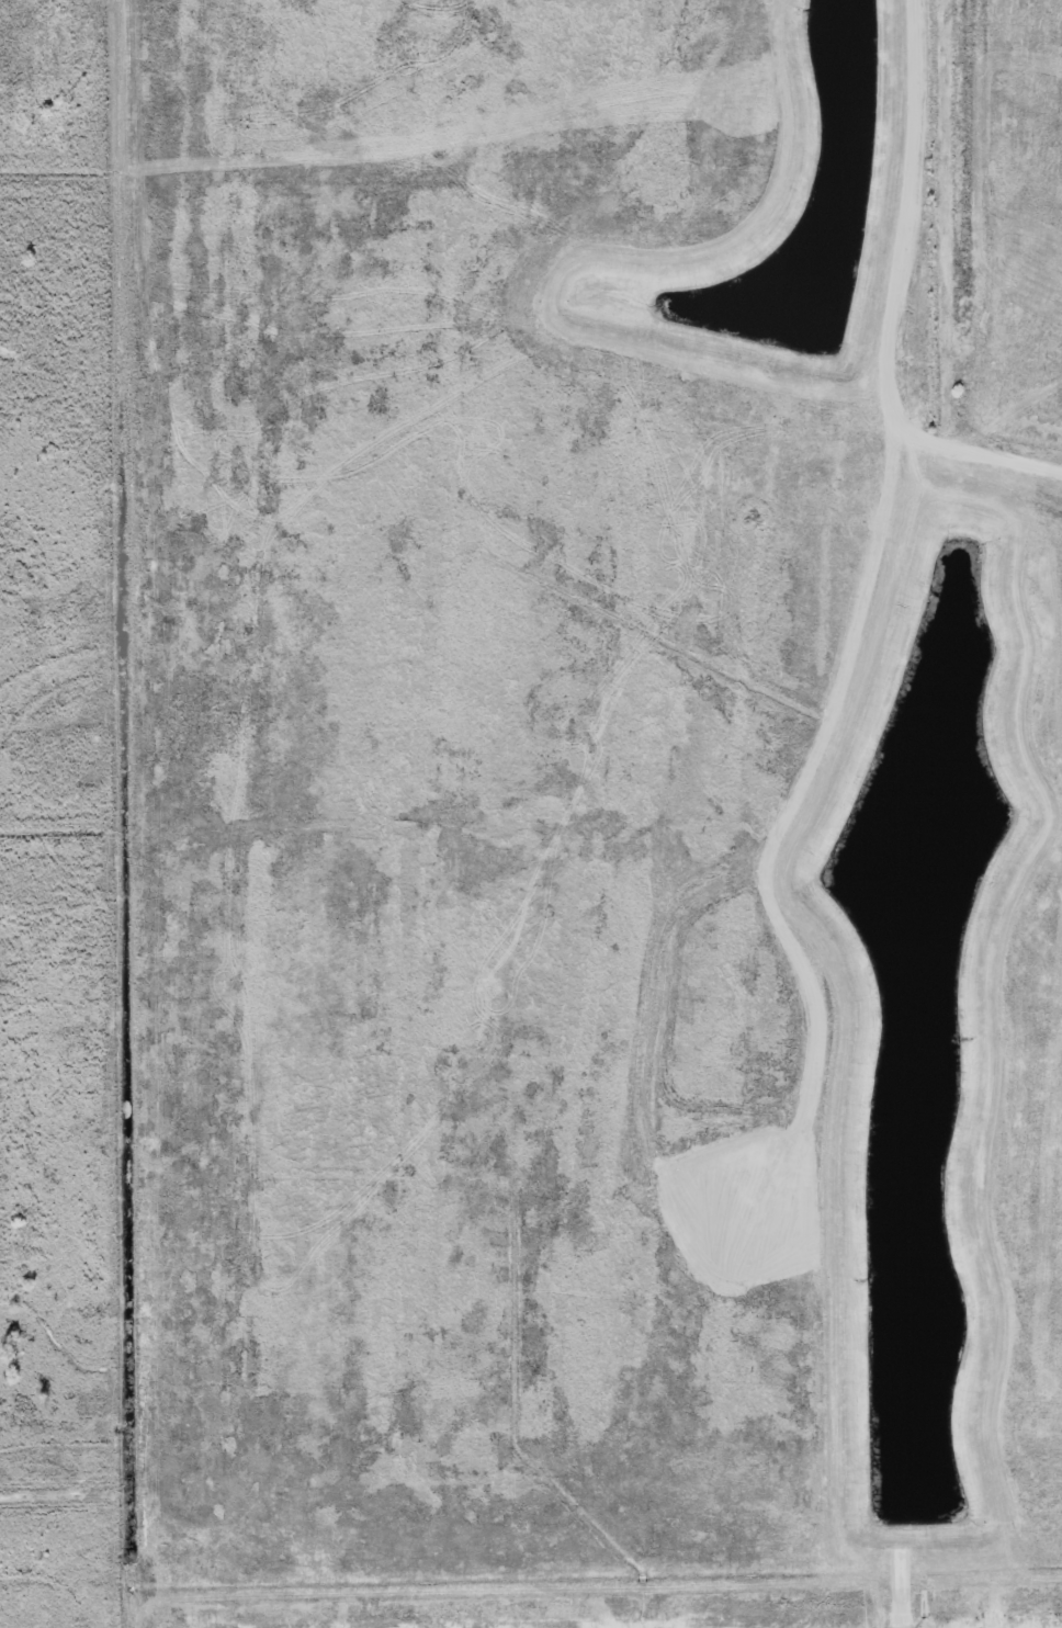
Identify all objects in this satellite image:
road: (894, 299)

